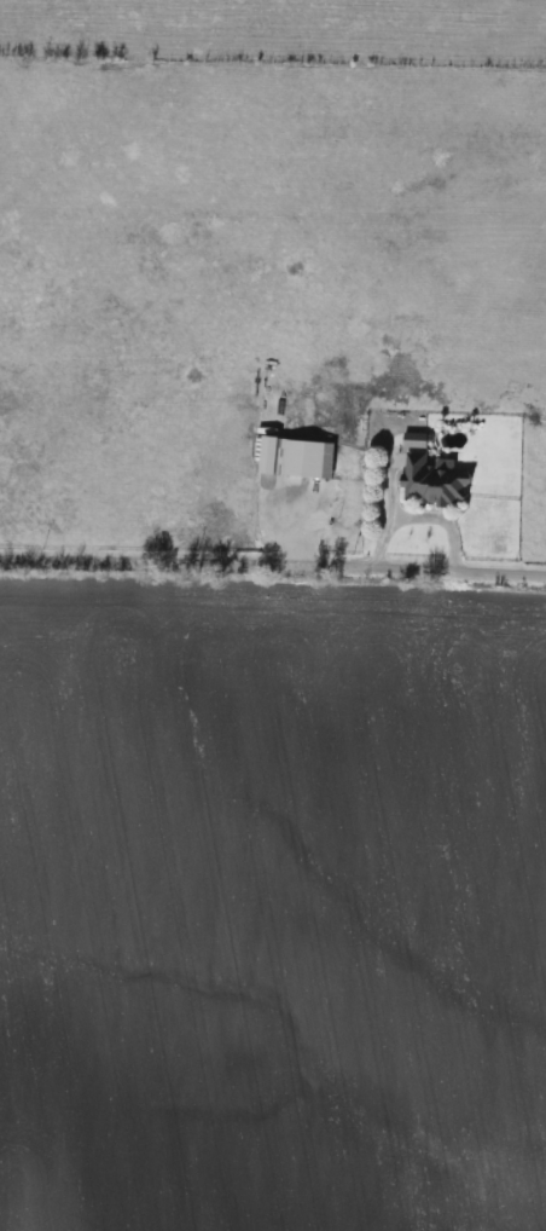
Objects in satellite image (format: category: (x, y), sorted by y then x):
building: (434, 484)
road: (273, 567)

